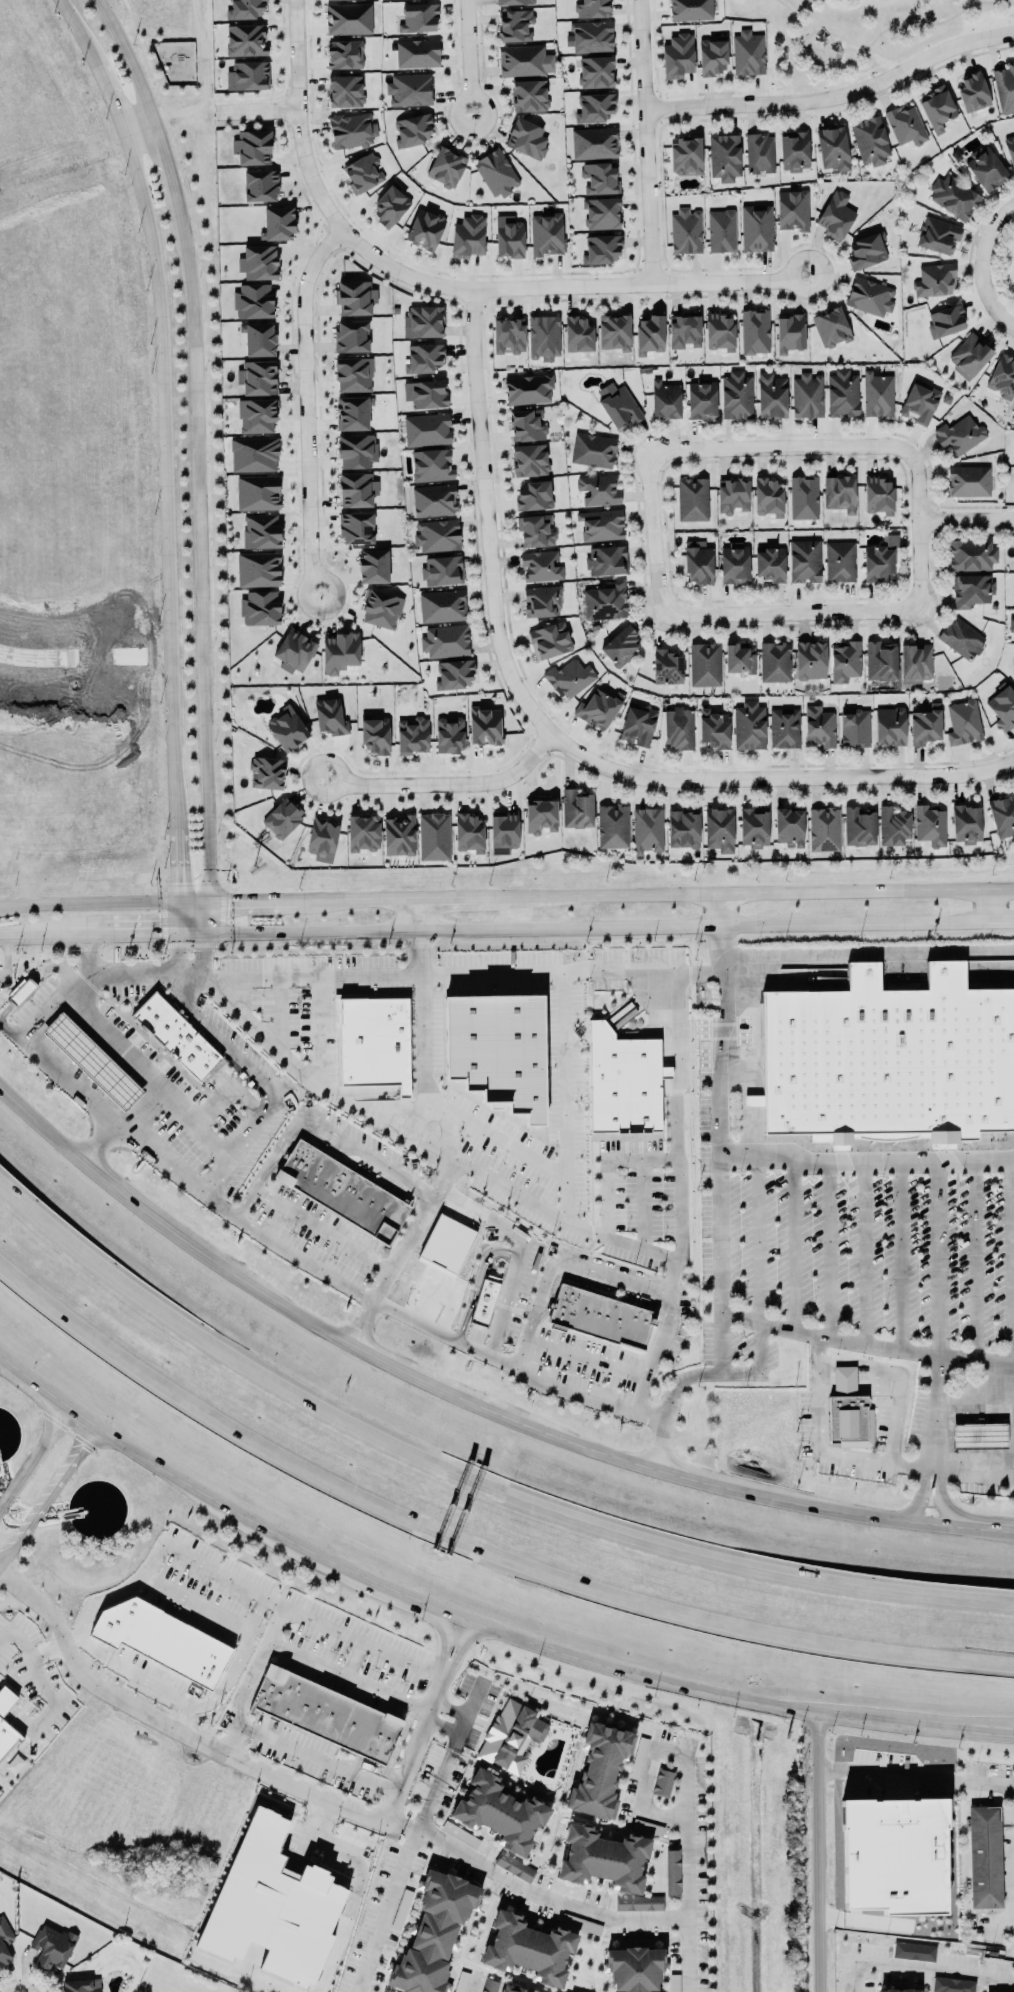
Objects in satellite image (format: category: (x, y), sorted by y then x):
building: (514, 2)
building: (245, 8)
building: (593, 8)
building: (691, 10)
building: (419, 17)
building: (349, 18)
building: (515, 24)
road: (77, 26)
building: (591, 36)
building: (246, 39)
road: (870, 42)
road: (655, 45)
building: (748, 52)
building: (417, 53)
building: (345, 54)
road: (470, 55)
building: (678, 55)
building: (713, 55)
road: (131, 59)
building: (525, 60)
building: (596, 71)
building: (248, 75)
road: (205, 76)
building: (1005, 88)
building: (410, 89)
road: (109, 90)
building: (345, 91)
road: (733, 91)
building: (973, 92)
building: (529, 95)
road: (833, 95)
building: (594, 107)
road: (257, 108)
building: (937, 108)
building: (906, 124)
road: (138, 125)
building: (352, 130)
building: (413, 130)
building: (527, 138)
building: (870, 140)
building: (594, 142)
road: (644, 143)
building: (252, 146)
building: (833, 148)
building: (1010, 148)
building: (794, 150)
building: (760, 153)
building: (686, 155)
building: (725, 156)
road: (164, 161)
building: (446, 166)
road: (306, 168)
building: (986, 168)
building: (496, 172)
building: (363, 173)
building: (600, 177)
building: (261, 185)
building: (954, 196)
building: (390, 204)
building: (793, 209)
building: (602, 212)
building: (836, 215)
building: (278, 223)
building: (756, 227)
building: (425, 228)
building: (721, 230)
building: (686, 231)
building: (547, 233)
building: (938, 235)
building: (468, 236)
building: (509, 236)
building: (602, 249)
building: (867, 250)
building: (259, 262)
road: (981, 265)
building: (935, 279)
road: (617, 286)
building: (355, 296)
building: (870, 296)
building: (254, 300)
building: (946, 319)
building: (424, 321)
building: (831, 327)
building: (685, 330)
building: (720, 330)
building: (614, 331)
building: (755, 331)
building: (790, 332)
building: (578, 334)
building: (650, 334)
building: (509, 335)
building: (352, 336)
building: (544, 336)
building: (259, 339)
building: (970, 355)
building: (423, 357)
building: (354, 374)
building: (1003, 376)
building: (258, 377)
building: (528, 388)
building: (426, 393)
building: (843, 393)
building: (878, 393)
building: (737, 395)
building: (772, 395)
building: (807, 395)
building: (665, 399)
building: (702, 399)
building: (920, 401)
road: (309, 404)
building: (619, 404)
building: (352, 412)
building: (257, 415)
building: (527, 424)
road: (196, 426)
building: (427, 429)
building: (960, 434)
road: (778, 448)
building: (593, 449)
building: (357, 450)
building: (254, 454)
building: (529, 459)
building: (432, 465)
road: (165, 474)
building: (969, 480)
building: (357, 489)
building: (599, 489)
building: (258, 492)
building: (839, 492)
building: (879, 494)
building: (534, 495)
building: (733, 495)
building: (769, 496)
building: (804, 497)
building: (434, 499)
building: (692, 499)
road: (487, 520)
road: (966, 520)
building: (601, 524)
building: (356, 527)
road: (918, 528)
building: (261, 530)
building: (536, 530)
road: (653, 531)
building: (438, 534)
building: (891, 539)
building: (971, 554)
building: (607, 560)
building: (805, 560)
building: (840, 561)
building: (878, 562)
building: (698, 563)
building: (735, 563)
building: (770, 563)
building: (373, 565)
building: (541, 565)
building: (258, 569)
building: (442, 570)
building: (971, 589)
building: (542, 600)
building: (606, 600)
building: (442, 605)
building: (260, 607)
building: (381, 609)
road: (788, 609)
building: (1011, 623)
building: (962, 638)
building: (446, 640)
building: (550, 640)
building: (621, 645)
building: (295, 650)
building: (340, 651)
road: (100, 657)
building: (740, 657)
building: (810, 659)
building: (845, 661)
building: (881, 661)
building: (775, 662)
building: (916, 662)
building: (705, 664)
building: (667, 666)
building: (1013, 672)
building: (455, 673)
building: (569, 677)
road: (112, 678)
road: (43, 679)
road: (203, 689)
building: (1003, 706)
building: (599, 708)
building: (330, 716)
building: (963, 722)
building: (638, 724)
building: (926, 724)
building: (485, 725)
building: (749, 725)
building: (819, 726)
building: (890, 726)
building: (678, 727)
building: (784, 727)
building: (855, 727)
building: (287, 728)
building: (715, 728)
building: (375, 733)
building: (449, 734)
building: (412, 735)
road: (137, 738)
road: (1009, 760)
building: (267, 772)
road: (773, 777)
road: (448, 781)
road: (90, 787)
building: (577, 808)
road: (206, 810)
building: (540, 815)
building: (1002, 815)
building: (282, 818)
building: (966, 823)
building: (930, 824)
building: (613, 825)
building: (790, 825)
building: (893, 825)
building: (754, 826)
building: (859, 826)
building: (683, 828)
building: (504, 829)
building: (647, 829)
building: (719, 829)
building: (824, 829)
building: (363, 832)
building: (469, 832)
building: (399, 835)
building: (434, 836)
building: (323, 839)
road: (179, 862)
road: (655, 889)
road: (252, 897)
road: (194, 898)
traffic signals: (208, 898)
traffic signals: (180, 899)
road: (89, 900)
road: (187, 913)
road: (201, 913)
road: (603, 922)
traffic signals: (194, 928)
road: (149, 929)
road: (52, 932)
road: (178, 949)
road: (206, 950)
road: (870, 951)
road: (643, 970)
road: (513, 971)
road: (139, 973)
road: (307, 976)
building: (21, 991)
road: (279, 1011)
road: (424, 1028)
road: (321, 1029)
building: (176, 1034)
building: (373, 1040)
building: (498, 1050)
building: (94, 1060)
gas station: (94, 1060)
building: (887, 1061)
road: (147, 1076)
road: (262, 1077)
building: (629, 1080)
road: (320, 1083)
road: (566, 1096)
road: (675, 1113)
road: (38, 1122)
road: (318, 1124)
road: (121, 1126)
road: (497, 1134)
road: (139, 1141)
road: (721, 1146)
road: (867, 1161)
building: (342, 1189)
road: (519, 1194)
road: (605, 1195)
road: (155, 1219)
road: (323, 1229)
road: (760, 1237)
road: (796, 1242)
road: (832, 1246)
road: (865, 1250)
road: (901, 1253)
road: (977, 1257)
road: (1010, 1259)
road: (397, 1260)
road: (559, 1261)
road: (476, 1279)
road: (511, 1283)
parking lot: (520, 1290)
building: (486, 1298)
road: (293, 1309)
road: (939, 1314)
building: (600, 1315)
road: (486, 1328)
parking lot: (476, 1332)
road: (866, 1339)
road: (494, 1343)
road: (654, 1352)
road: (587, 1357)
road: (518, 1364)
road: (401, 1368)
road: (695, 1373)
road: (897, 1379)
road: (817, 1389)
building: (847, 1409)
road: (1013, 1416)
road: (549, 1432)
building: (979, 1434)
gas station: (979, 1434)
road: (34, 1457)
road: (875, 1460)
road: (973, 1468)
road: (471, 1478)
road: (706, 1480)
road: (49, 1494)
road: (919, 1495)
road: (943, 1497)
road: (859, 1513)
road: (986, 1527)
road: (161, 1545)
road: (473, 1545)
road: (5, 1584)
road: (1, 1589)
road: (190, 1600)
road: (477, 1618)
road: (320, 1622)
building: (163, 1634)
road: (27, 1653)
road: (123, 1672)
road: (227, 1673)
road: (348, 1674)
building: (6, 1695)
road: (472, 1702)
road: (51, 1706)
building: (326, 1713)
road: (445, 1716)
road: (170, 1724)
building: (6, 1732)
building: (512, 1734)
road: (415, 1743)
road: (317, 1756)
building: (638, 1757)
road: (687, 1767)
building: (599, 1769)
road: (916, 1775)
road: (440, 1776)
building: (663, 1782)
building: (501, 1811)
road: (401, 1822)
building: (648, 1826)
building: (462, 1834)
road: (819, 1849)
building: (893, 1854)
building: (985, 1856)
building: (603, 1858)
building: (515, 1865)
building: (673, 1872)
building: (639, 1902)
building: (273, 1904)
road: (579, 1907)
road: (385, 1910)
building: (581, 1923)
building: (435, 1933)
building: (5, 1940)
building: (52, 1945)
building: (527, 1948)
building: (914, 1950)
road: (924, 1966)
building: (634, 1968)
road: (24, 1976)
building: (952, 1984)
building: (81, 1985)
building: (490, 1985)
building: (460, 1986)
building: (510, 1989)
building: (899, 1990)

